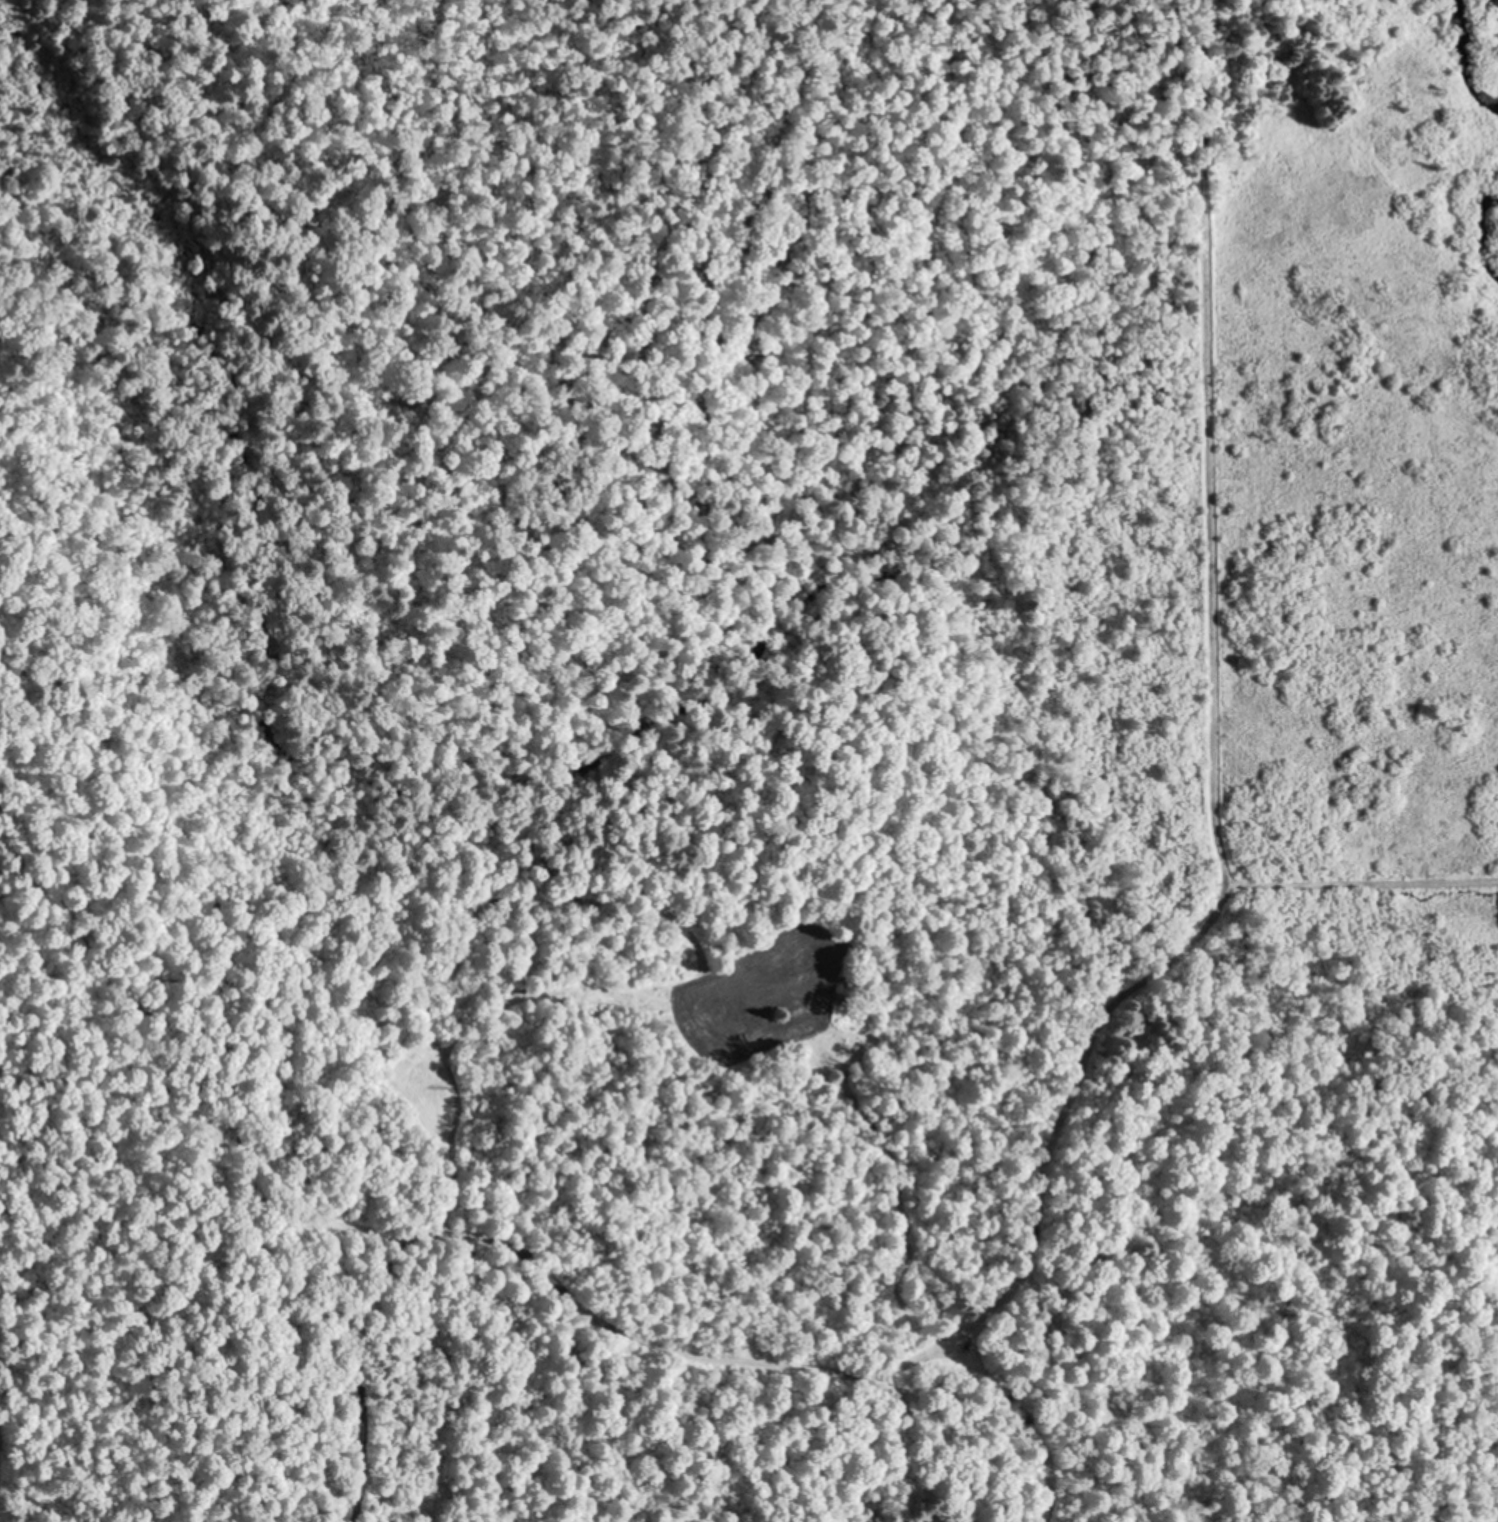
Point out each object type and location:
road: (1206, 595)

